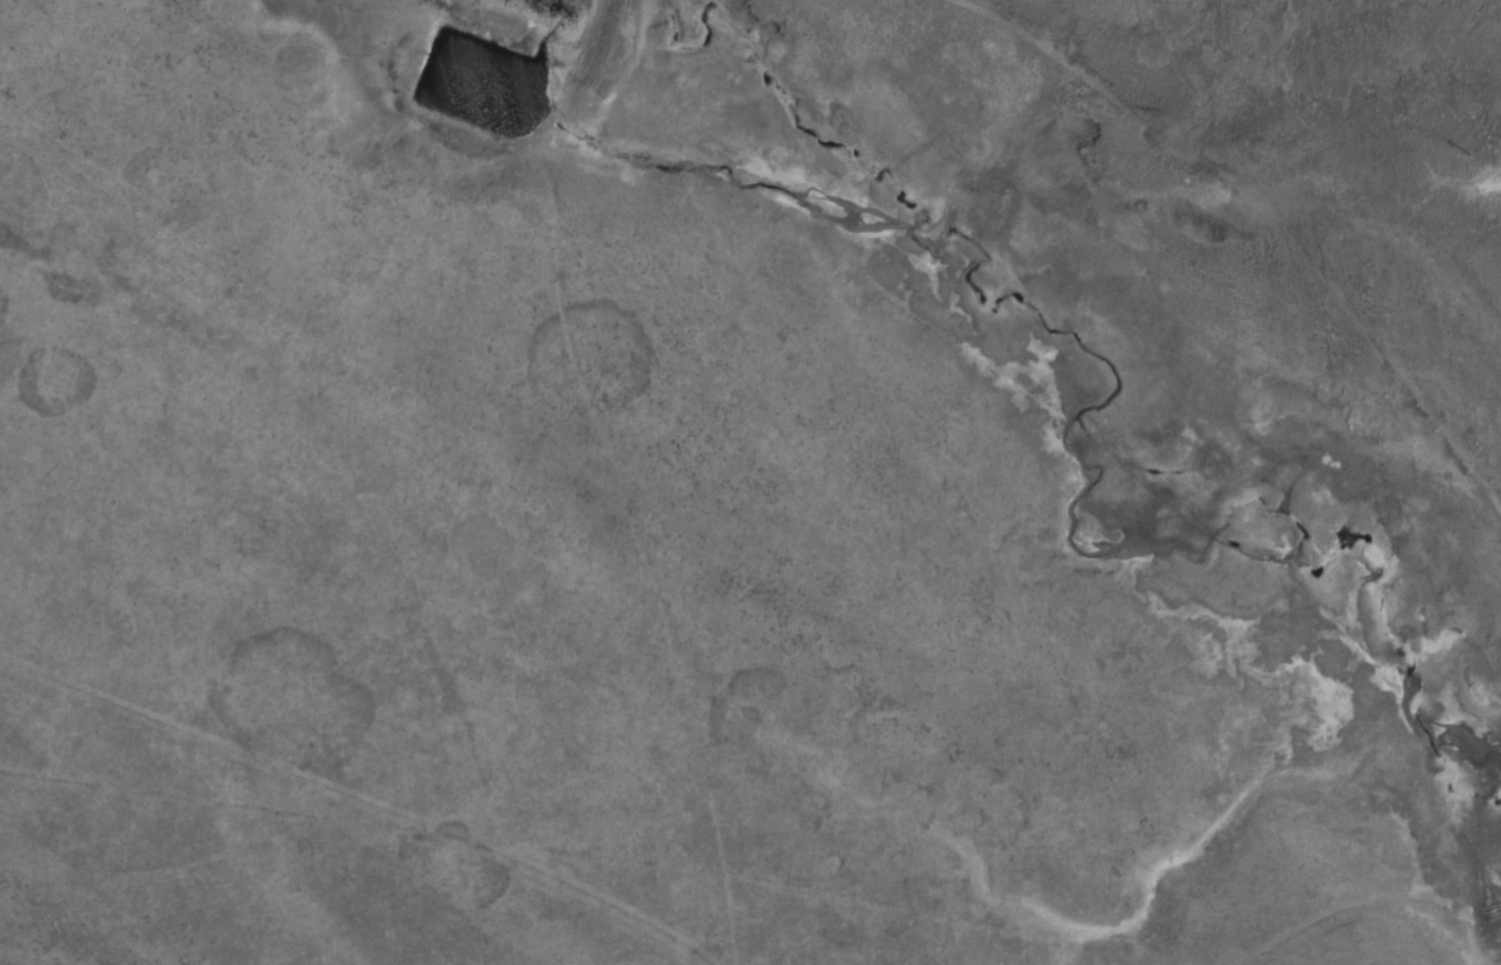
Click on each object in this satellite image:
power tower: (1478, 159)

